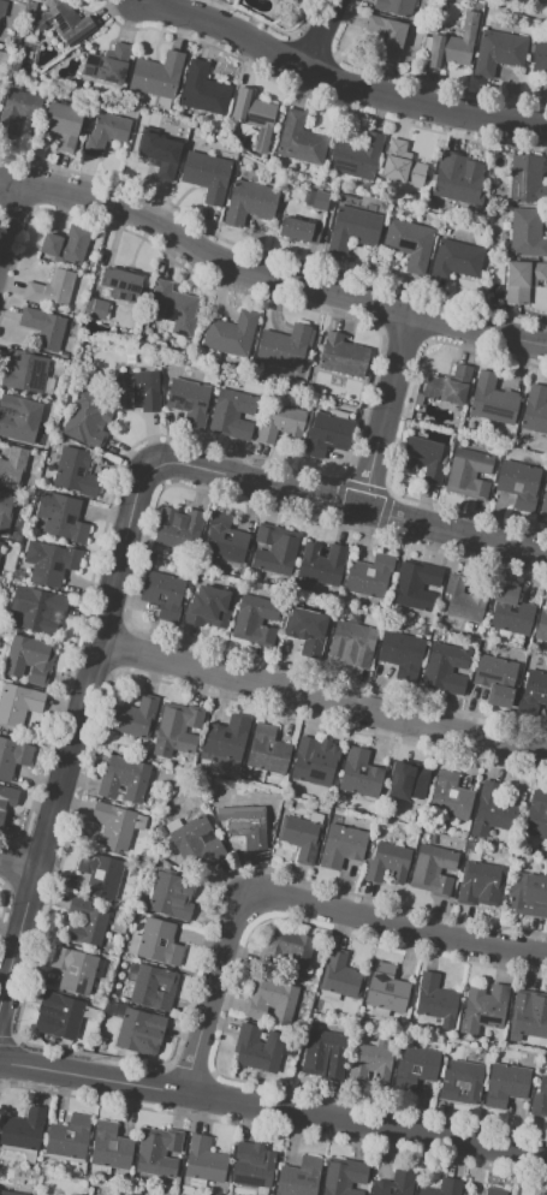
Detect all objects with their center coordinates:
building: (278, 0)
road: (141, 1)
building: (394, 6)
building: (4, 10)
building: (64, 23)
road: (322, 35)
building: (386, 37)
building: (453, 44)
building: (0, 52)
building: (497, 52)
building: (540, 58)
building: (107, 64)
building: (156, 75)
road: (339, 79)
building: (203, 90)
building: (17, 109)
building: (255, 115)
building: (63, 124)
building: (106, 132)
building: (301, 139)
building: (160, 153)
building: (356, 156)
building: (402, 165)
building: (207, 176)
building: (527, 179)
building: (456, 180)
building: (316, 200)
building: (249, 202)
road: (10, 221)
building: (352, 228)
building: (298, 230)
building: (527, 233)
building: (409, 243)
building: (66, 245)
building: (456, 260)
road: (267, 277)
building: (522, 279)
building: (121, 284)
building: (50, 289)
building: (96, 308)
building: (172, 308)
building: (43, 327)
building: (230, 333)
building: (284, 346)
building: (341, 355)
building: (23, 370)
building: (448, 386)
building: (135, 390)
building: (188, 400)
building: (492, 400)
building: (534, 409)
building: (232, 414)
road: (384, 414)
building: (88, 418)
building: (22, 423)
building: (280, 424)
building: (327, 434)
building: (423, 457)
building: (12, 468)
building: (73, 472)
building: (468, 472)
building: (518, 483)
building: (543, 498)
road: (335, 505)
building: (5, 511)
building: (65, 519)
building: (178, 527)
building: (226, 541)
building: (0, 546)
building: (275, 551)
building: (49, 563)
building: (322, 564)
building: (370, 576)
building: (416, 584)
building: (163, 593)
building: (464, 597)
building: (209, 606)
building: (512, 608)
building: (525, 608)
building: (38, 610)
building: (255, 619)
building: (541, 626)
building: (305, 631)
building: (352, 642)
building: (402, 653)
building: (29, 659)
building: (445, 667)
building: (495, 679)
building: (531, 692)
road: (323, 701)
building: (18, 703)
building: (135, 718)
building: (177, 730)
building: (226, 741)
road: (71, 750)
building: (267, 750)
building: (13, 756)
building: (315, 761)
building: (359, 771)
building: (359, 773)
building: (410, 778)
building: (123, 779)
building: (409, 781)
building: (451, 796)
building: (7, 799)
building: (493, 810)
building: (536, 815)
building: (115, 825)
building: (246, 825)
building: (301, 837)
building: (196, 843)
building: (340, 845)
road: (19, 863)
building: (386, 863)
building: (432, 869)
building: (100, 874)
building: (478, 884)
building: (171, 894)
building: (529, 894)
road: (295, 904)
building: (85, 922)
building: (159, 941)
building: (290, 949)
building: (73, 969)
building: (340, 976)
building: (153, 987)
building: (159, 988)
building: (386, 988)
building: (435, 999)
building: (270, 1000)
building: (483, 1009)
building: (61, 1015)
building: (529, 1015)
building: (137, 1028)
building: (257, 1048)
building: (325, 1053)
building: (369, 1065)
building: (415, 1066)
building: (460, 1081)
building: (505, 1084)
building: (540, 1098)
road: (273, 1108)
building: (23, 1129)
building: (55, 1135)
building: (69, 1135)
building: (109, 1146)
building: (157, 1152)
building: (203, 1160)
building: (251, 1165)
building: (299, 1177)
building: (344, 1177)
building: (396, 1183)
building: (444, 1187)
building: (10, 1193)
building: (497, 1193)
building: (127, 1194)
building: (539, 1194)

